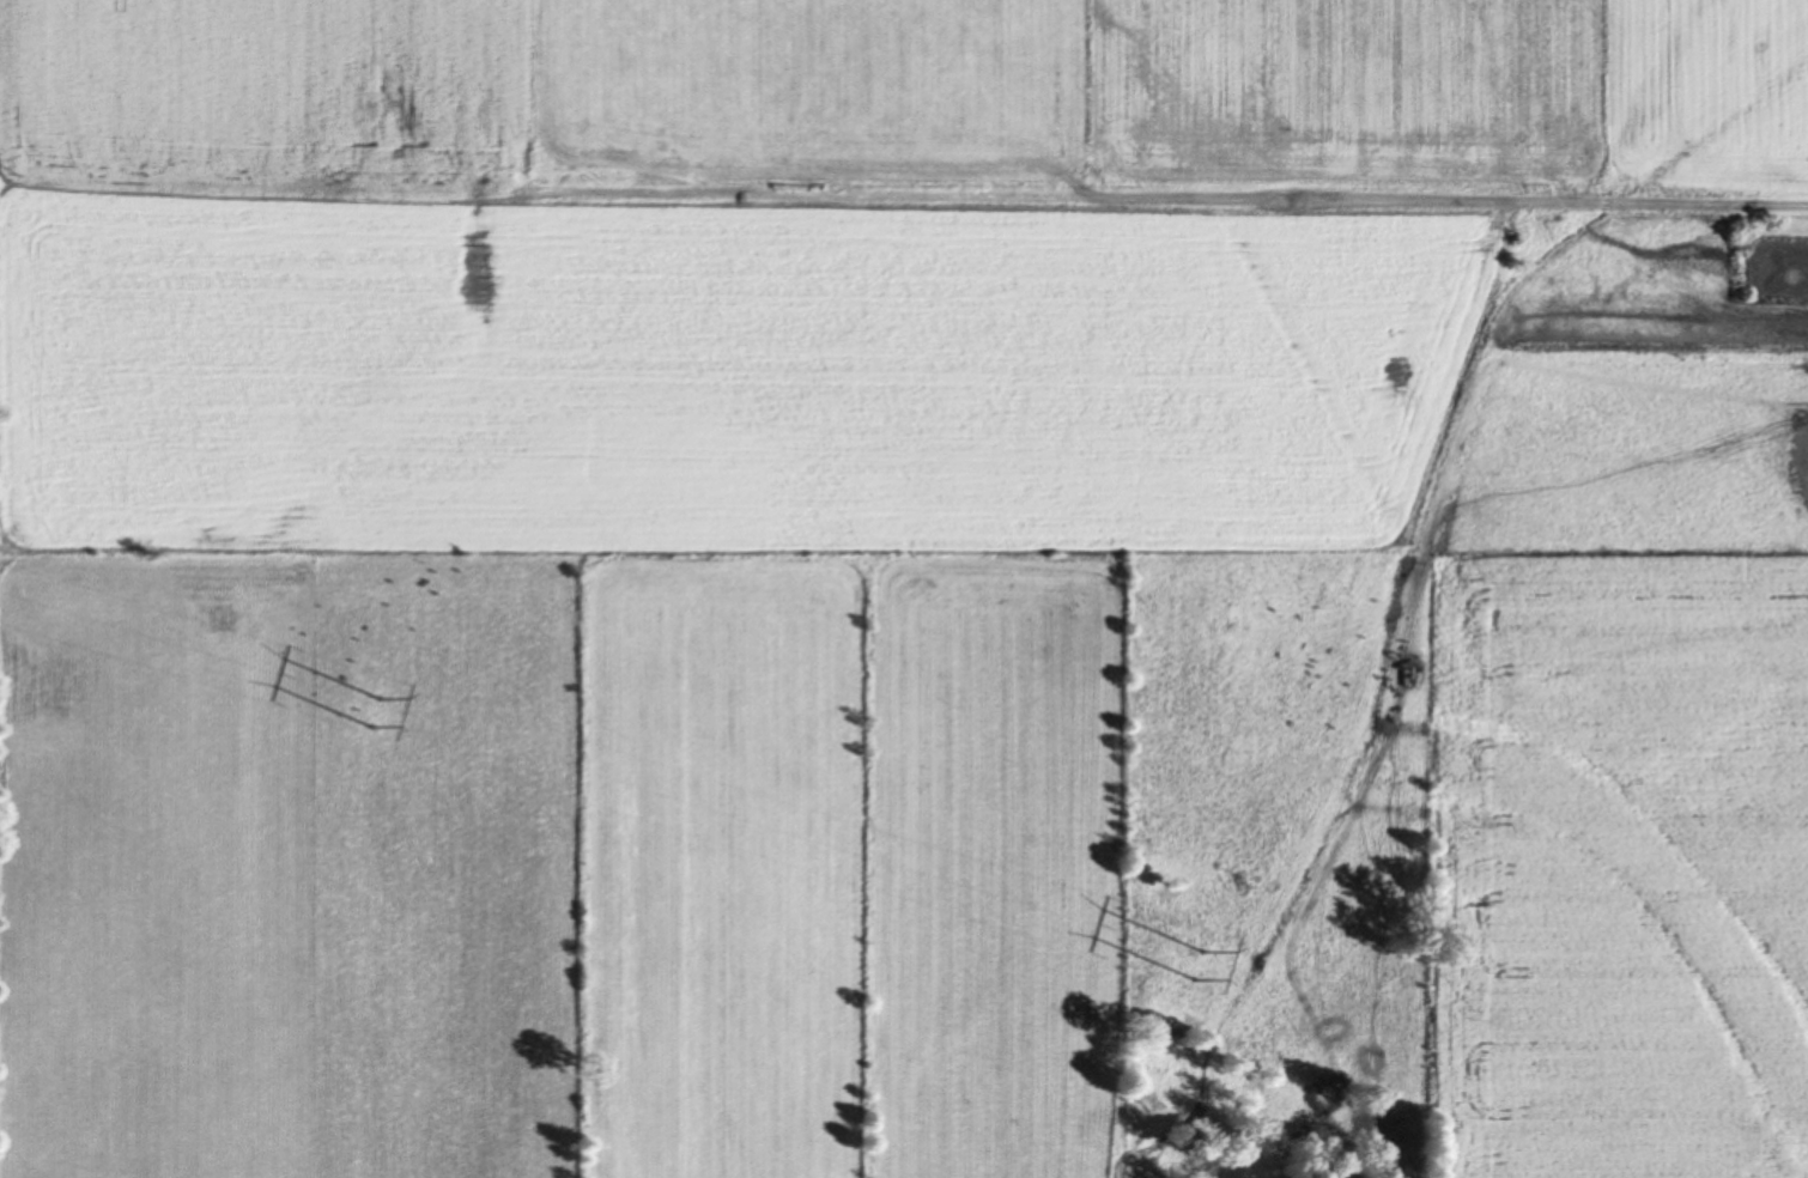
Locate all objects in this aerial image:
power tower: (377, 711)
power tower: (1200, 963)

